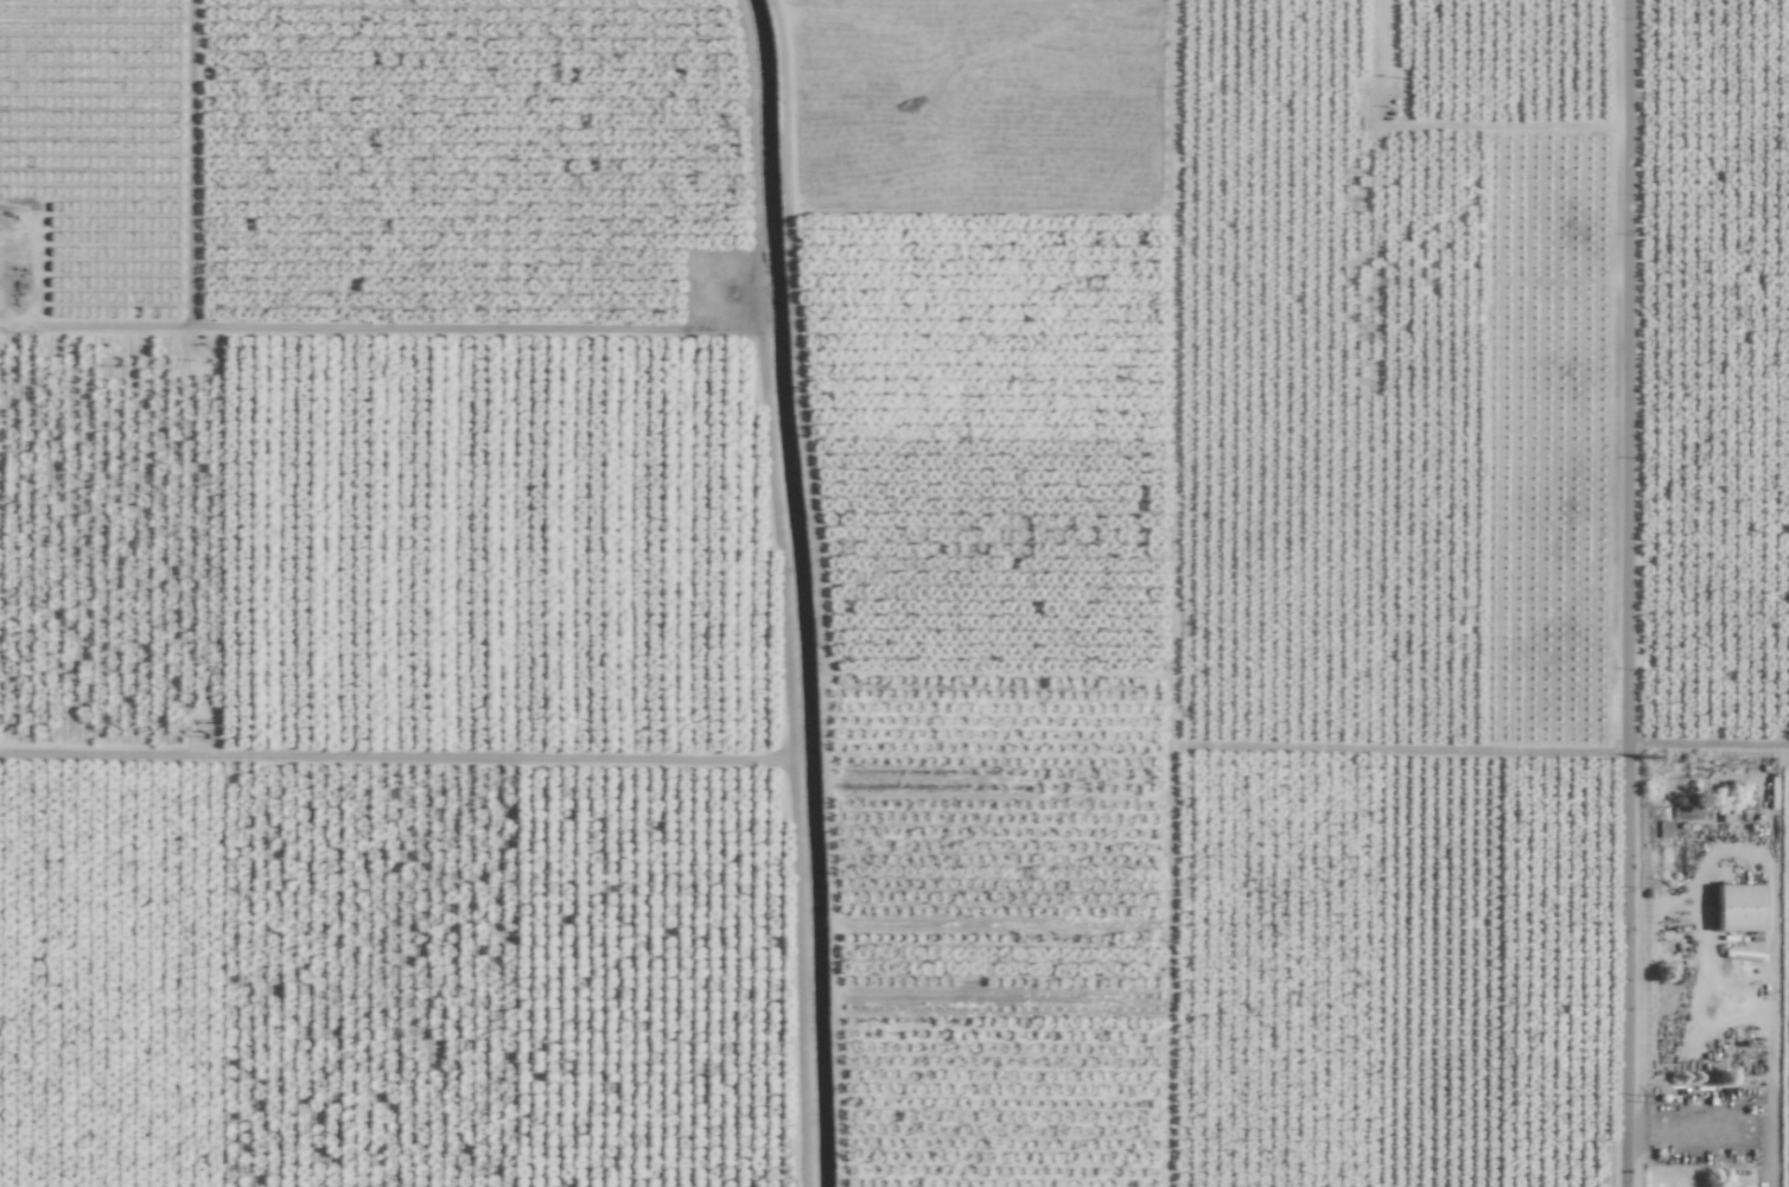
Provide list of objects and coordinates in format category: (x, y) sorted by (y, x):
road: (1630, 593)
road: (1710, 742)
building: (1688, 812)
building: (1736, 908)
road: (1717, 1143)
building: (1737, 1186)

